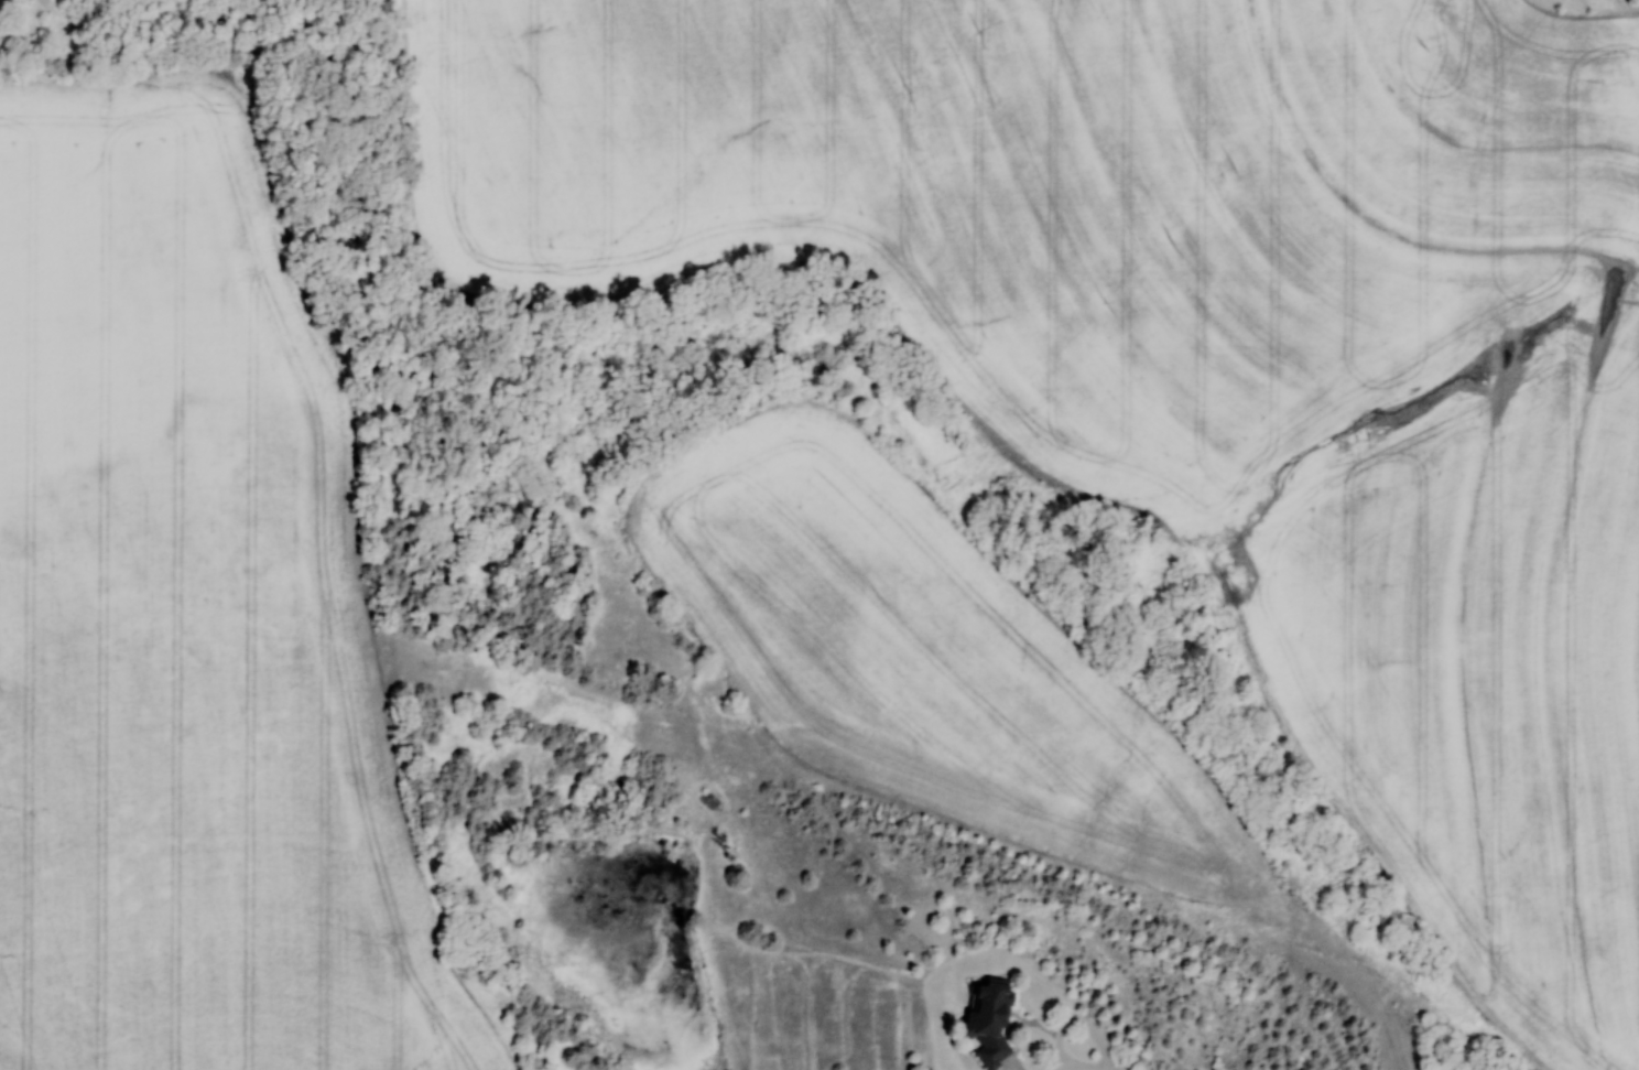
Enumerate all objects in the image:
building: (987, 1020)
road: (1070, 1020)

